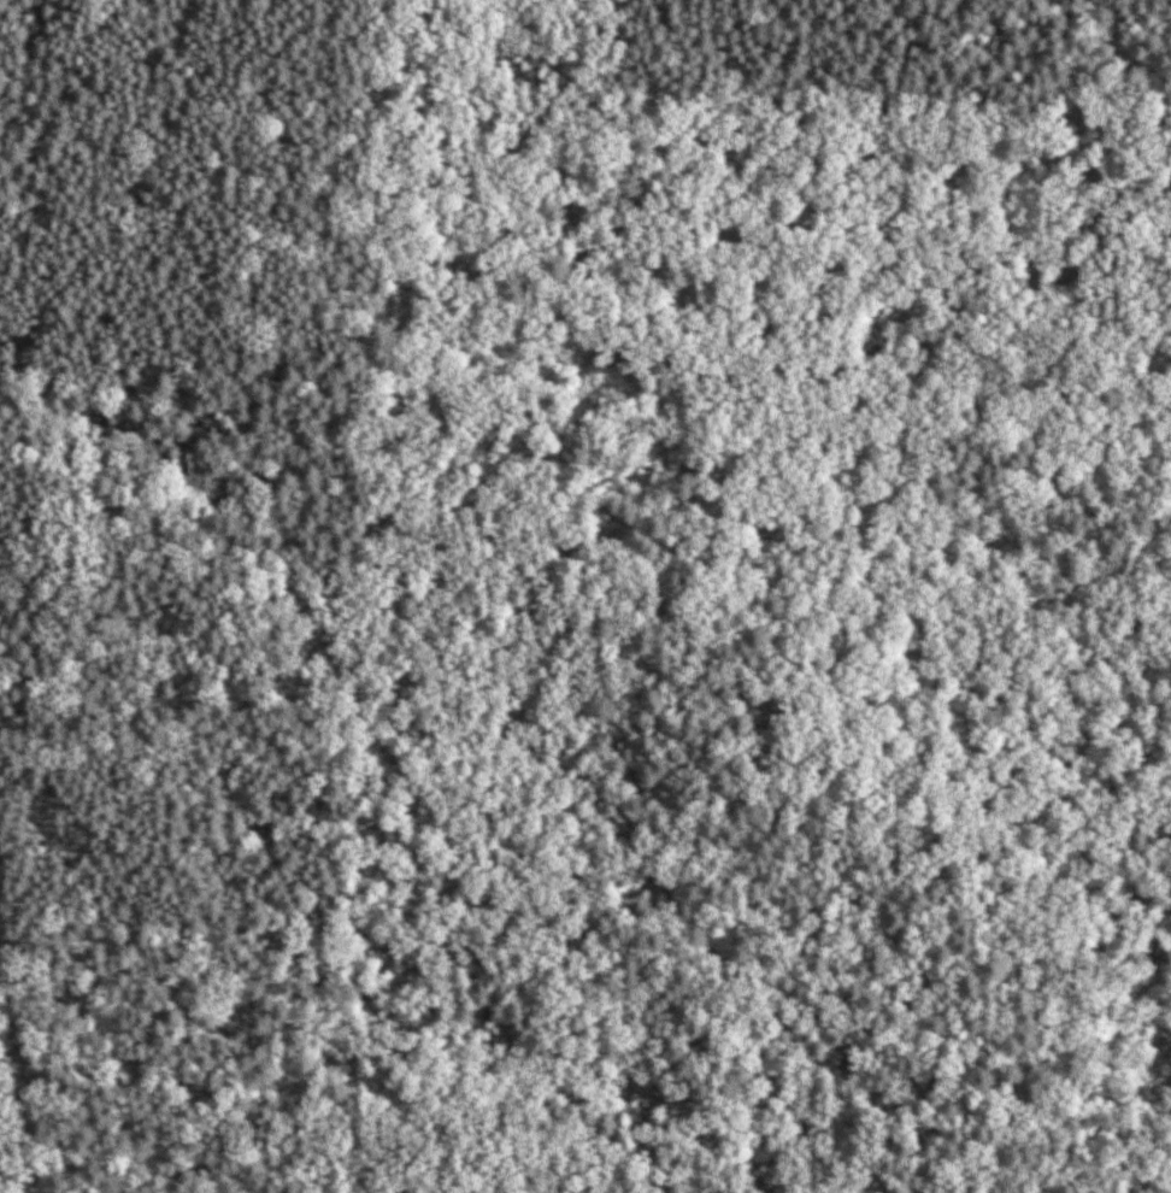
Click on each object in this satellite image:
road: (457, 472)
road: (18, 1053)

